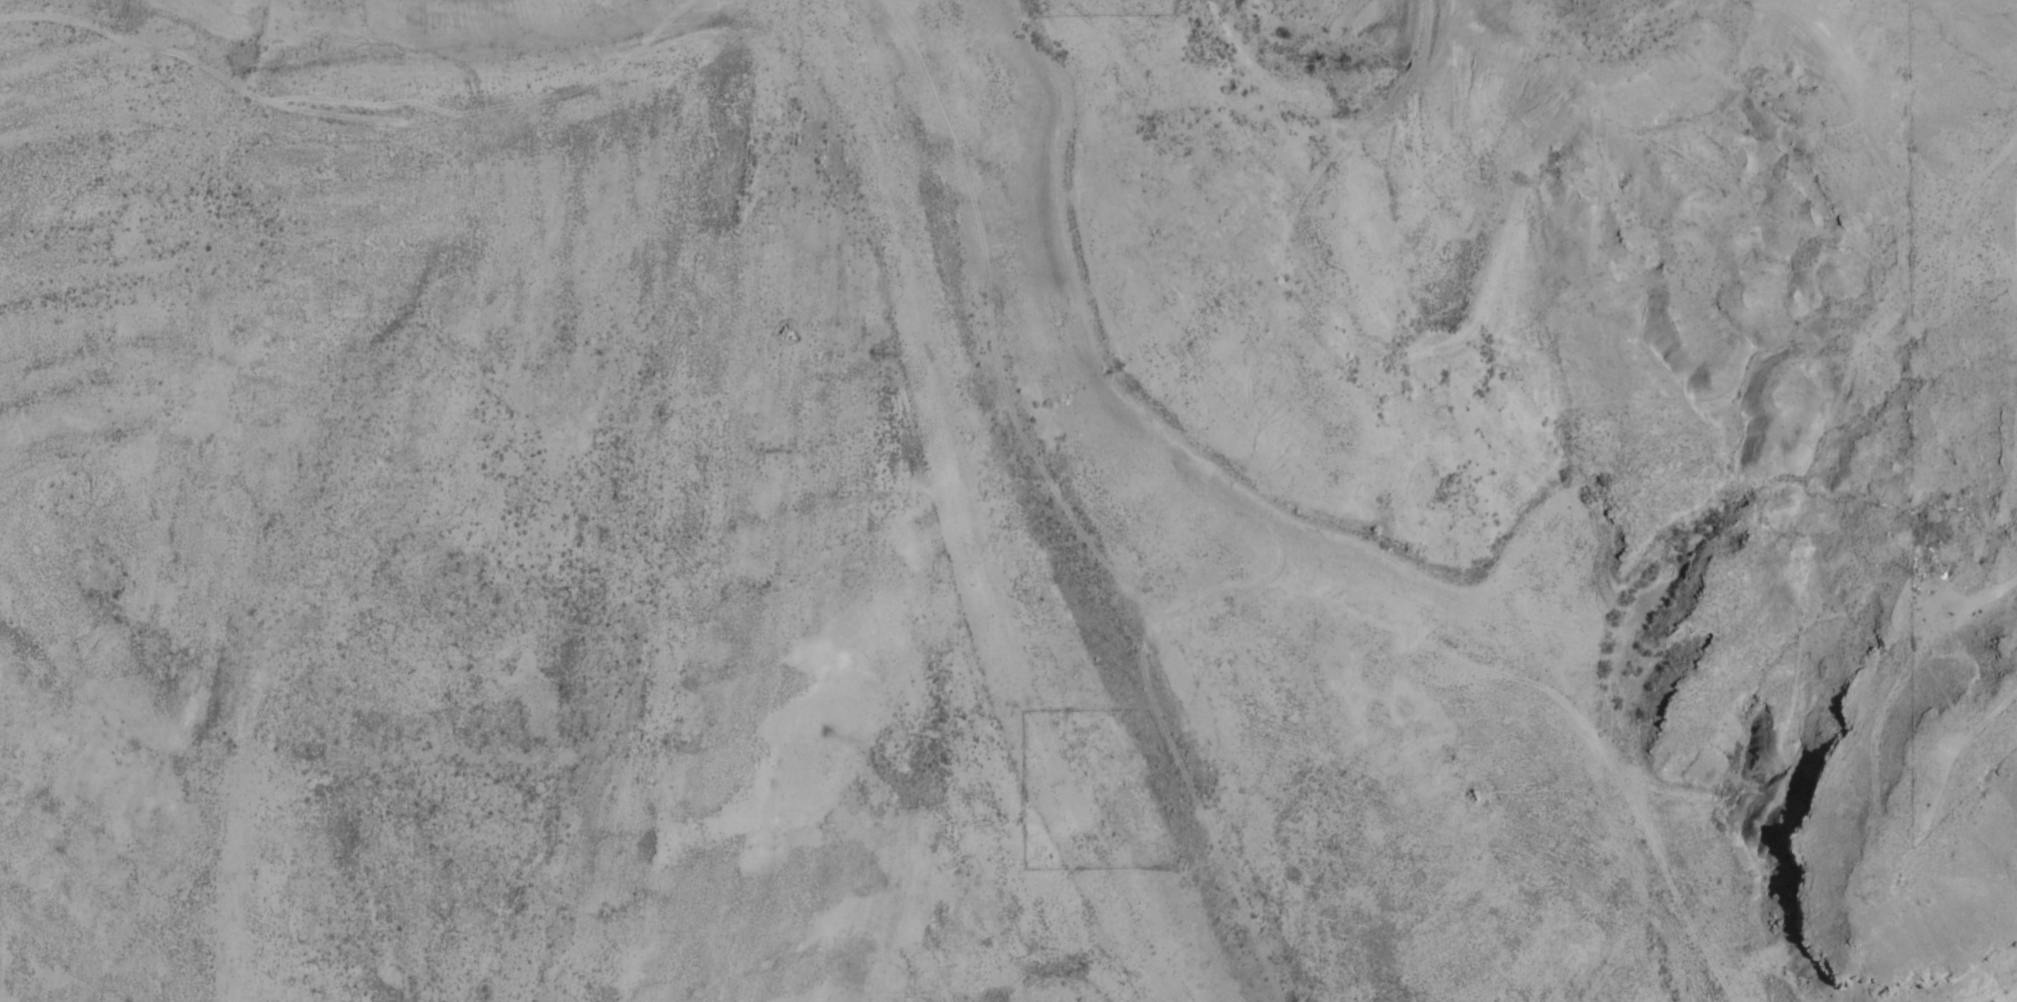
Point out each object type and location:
road: (349, 118)
road: (1268, 337)
road: (1069, 507)

